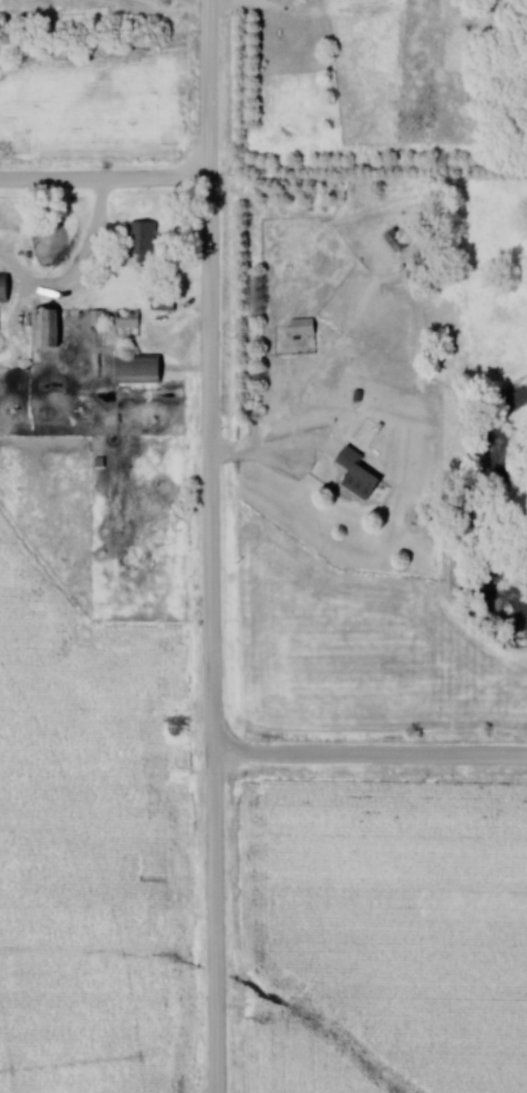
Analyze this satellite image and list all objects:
road: (104, 183)
building: (144, 235)
building: (399, 242)
road: (72, 265)
building: (6, 288)
building: (128, 317)
building: (48, 326)
building: (304, 327)
building: (139, 371)
building: (361, 473)
river: (485, 524)
road: (207, 546)
road: (366, 758)

